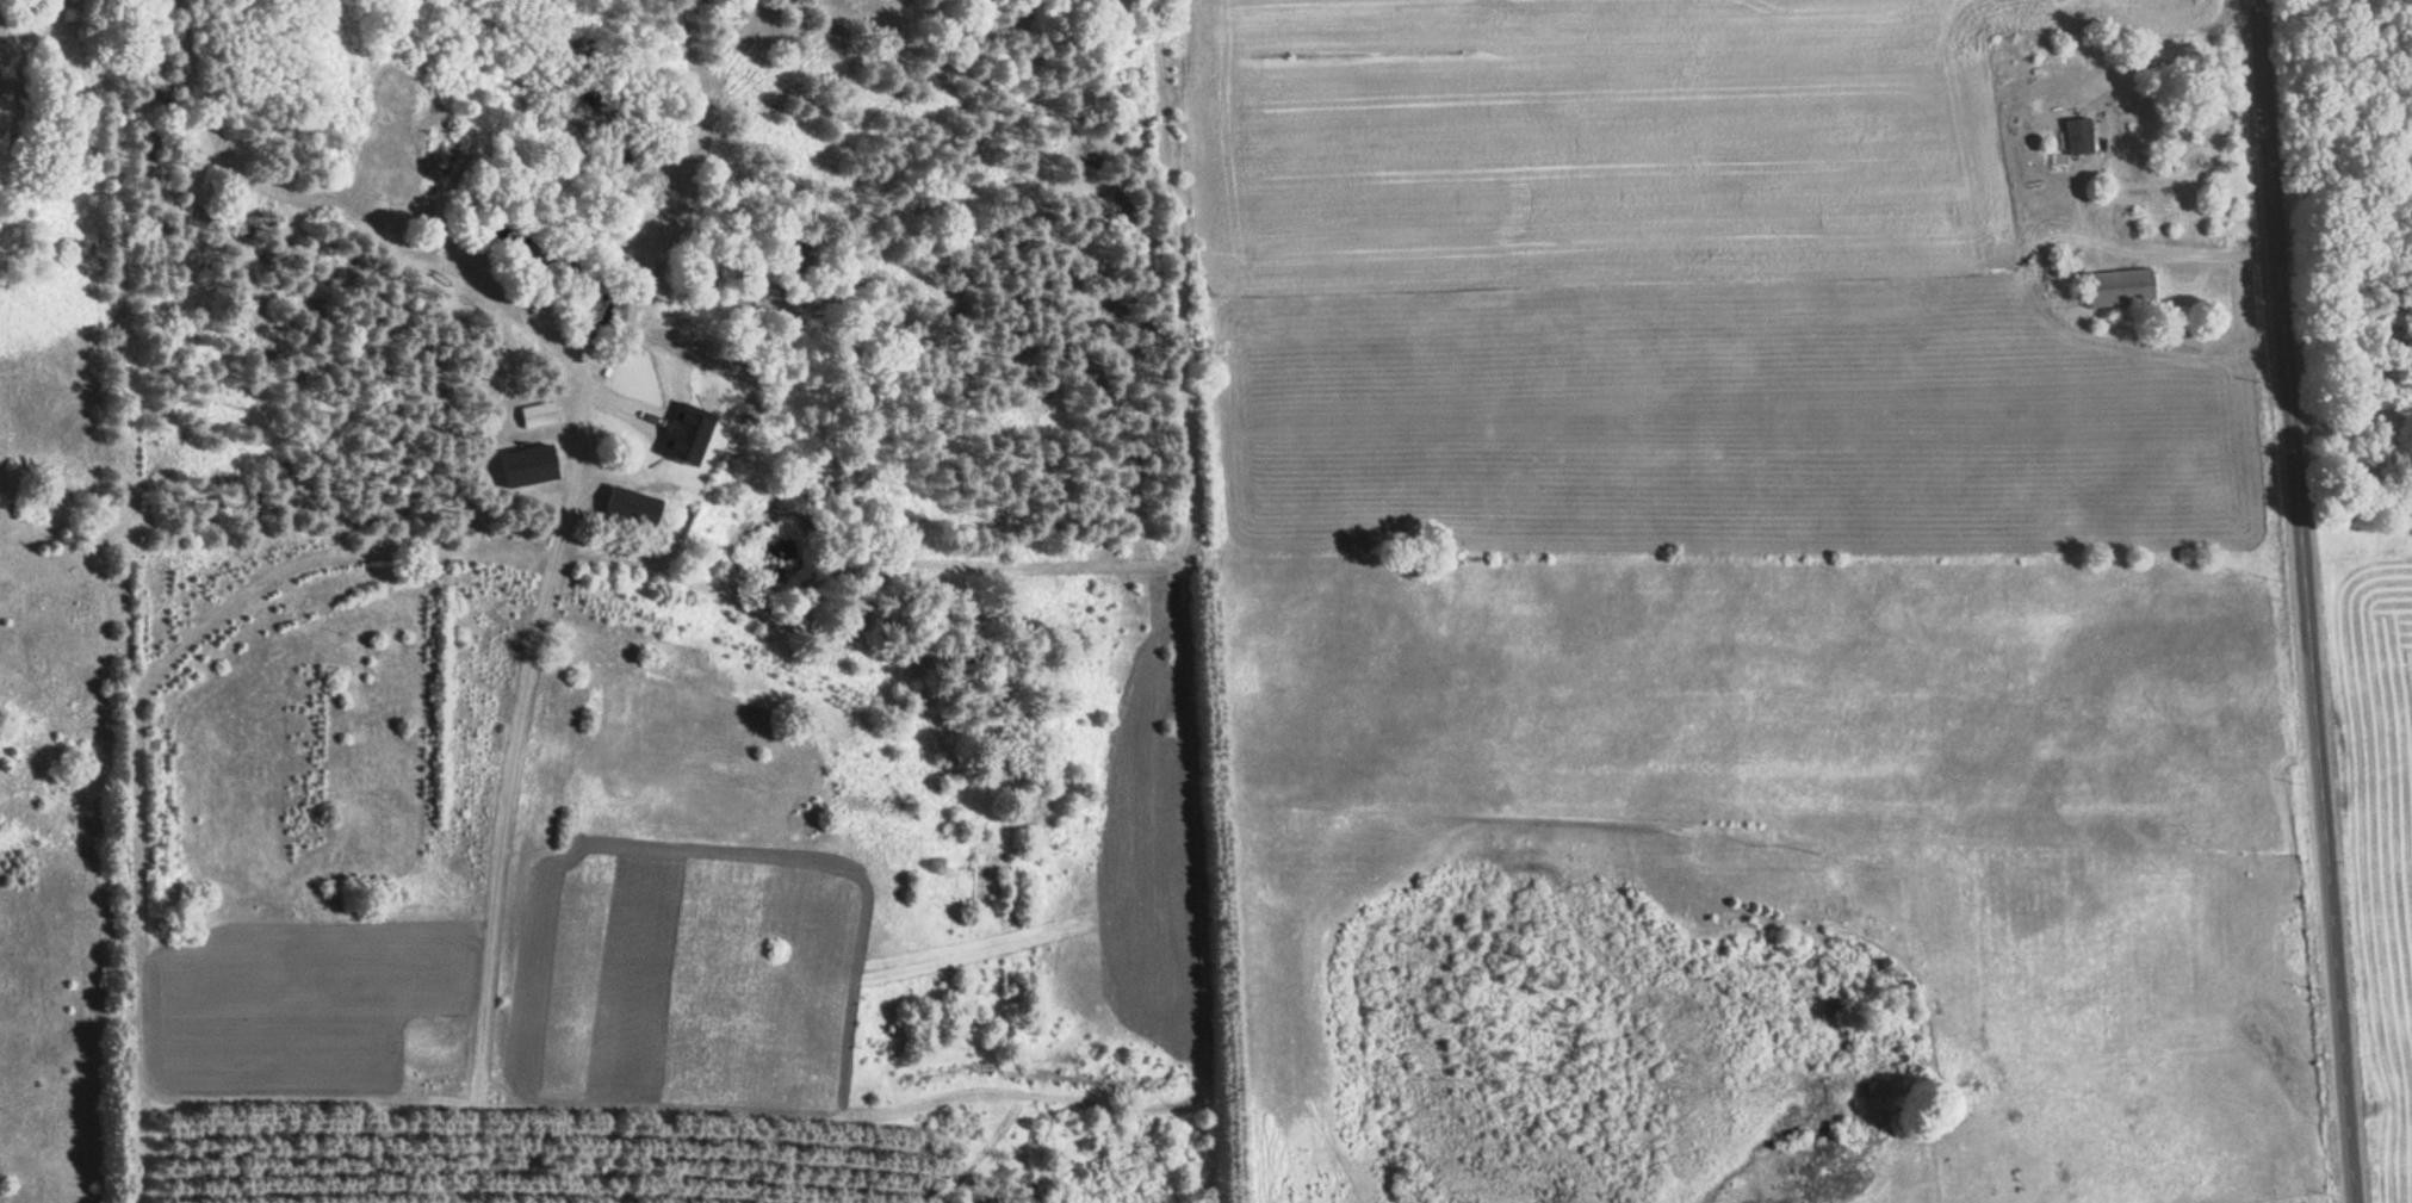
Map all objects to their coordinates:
building: (2075, 138)
building: (2115, 287)
building: (538, 415)
building: (683, 427)
building: (626, 504)
road: (2307, 601)

